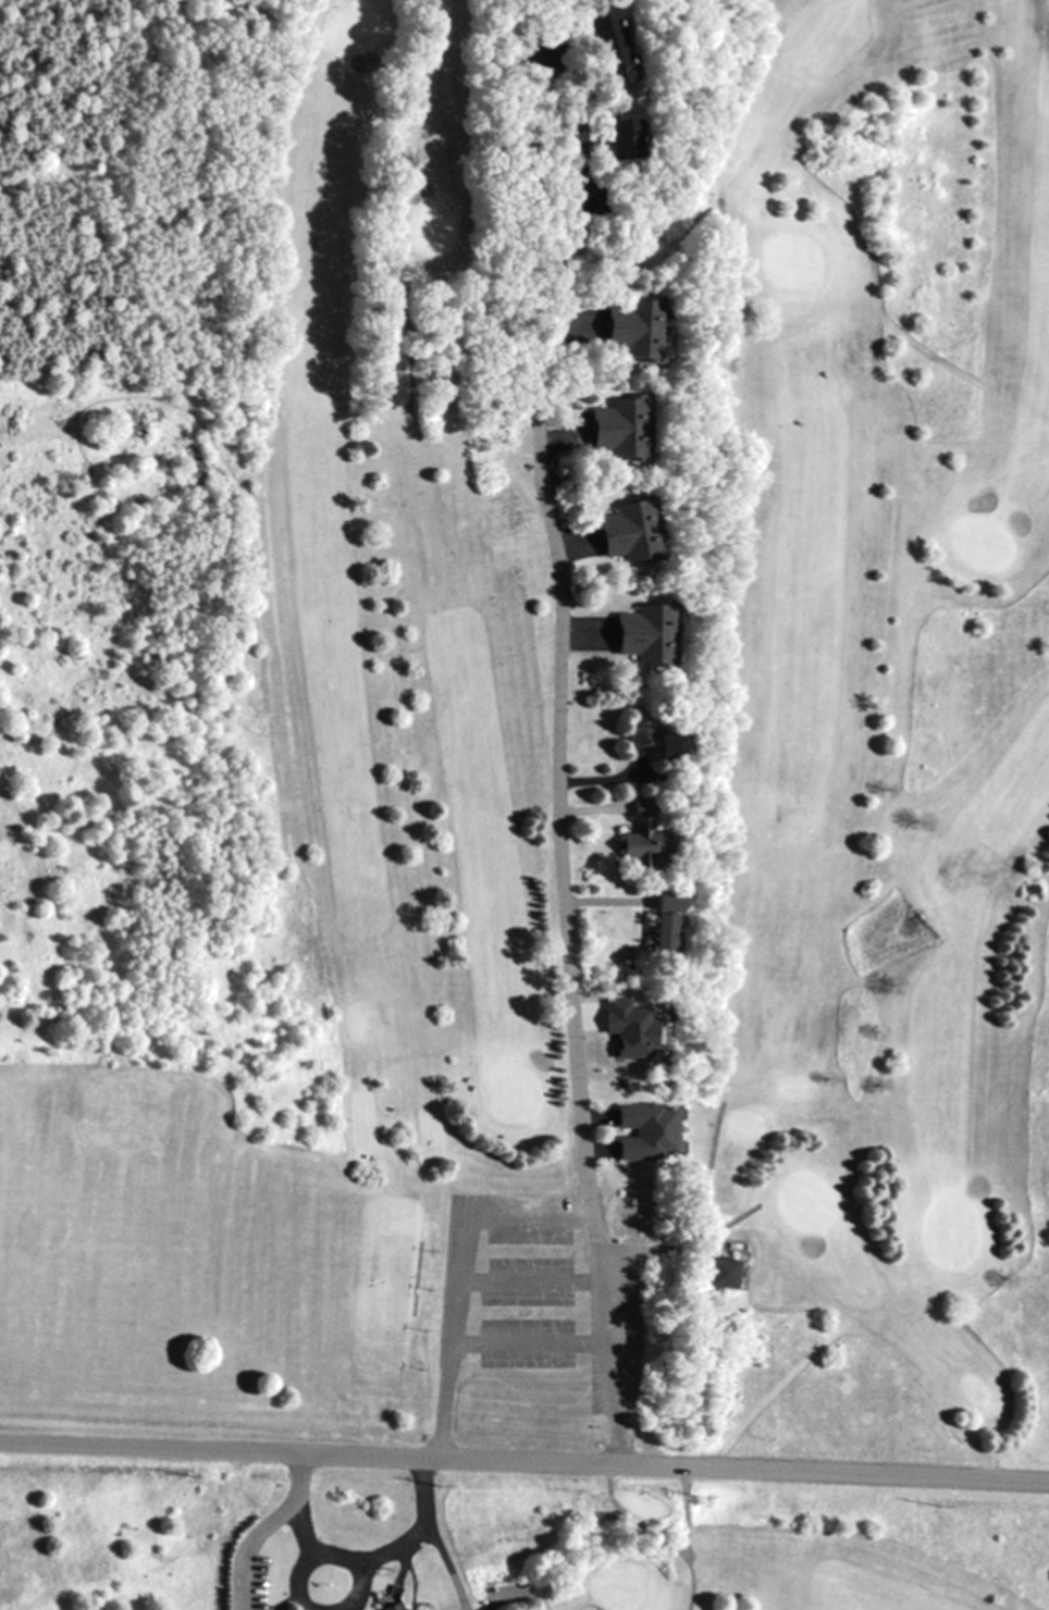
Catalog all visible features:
building: (603, 46)
building: (618, 139)
building: (631, 327)
building: (616, 428)
building: (627, 532)
building: (643, 632)
building: (637, 734)
building: (667, 745)
park: (608, 800)
building: (642, 844)
building: (661, 925)
road: (571, 959)
building: (629, 1028)
building: (645, 1131)
building: (724, 1272)
parking lot: (520, 1278)
road: (524, 1460)
road: (267, 1531)
building: (391, 1607)

